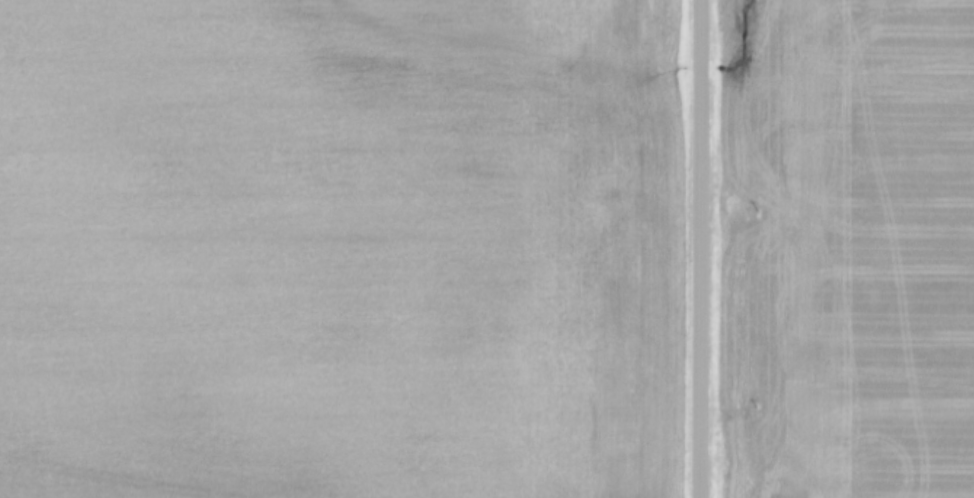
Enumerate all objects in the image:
road: (705, 249)

